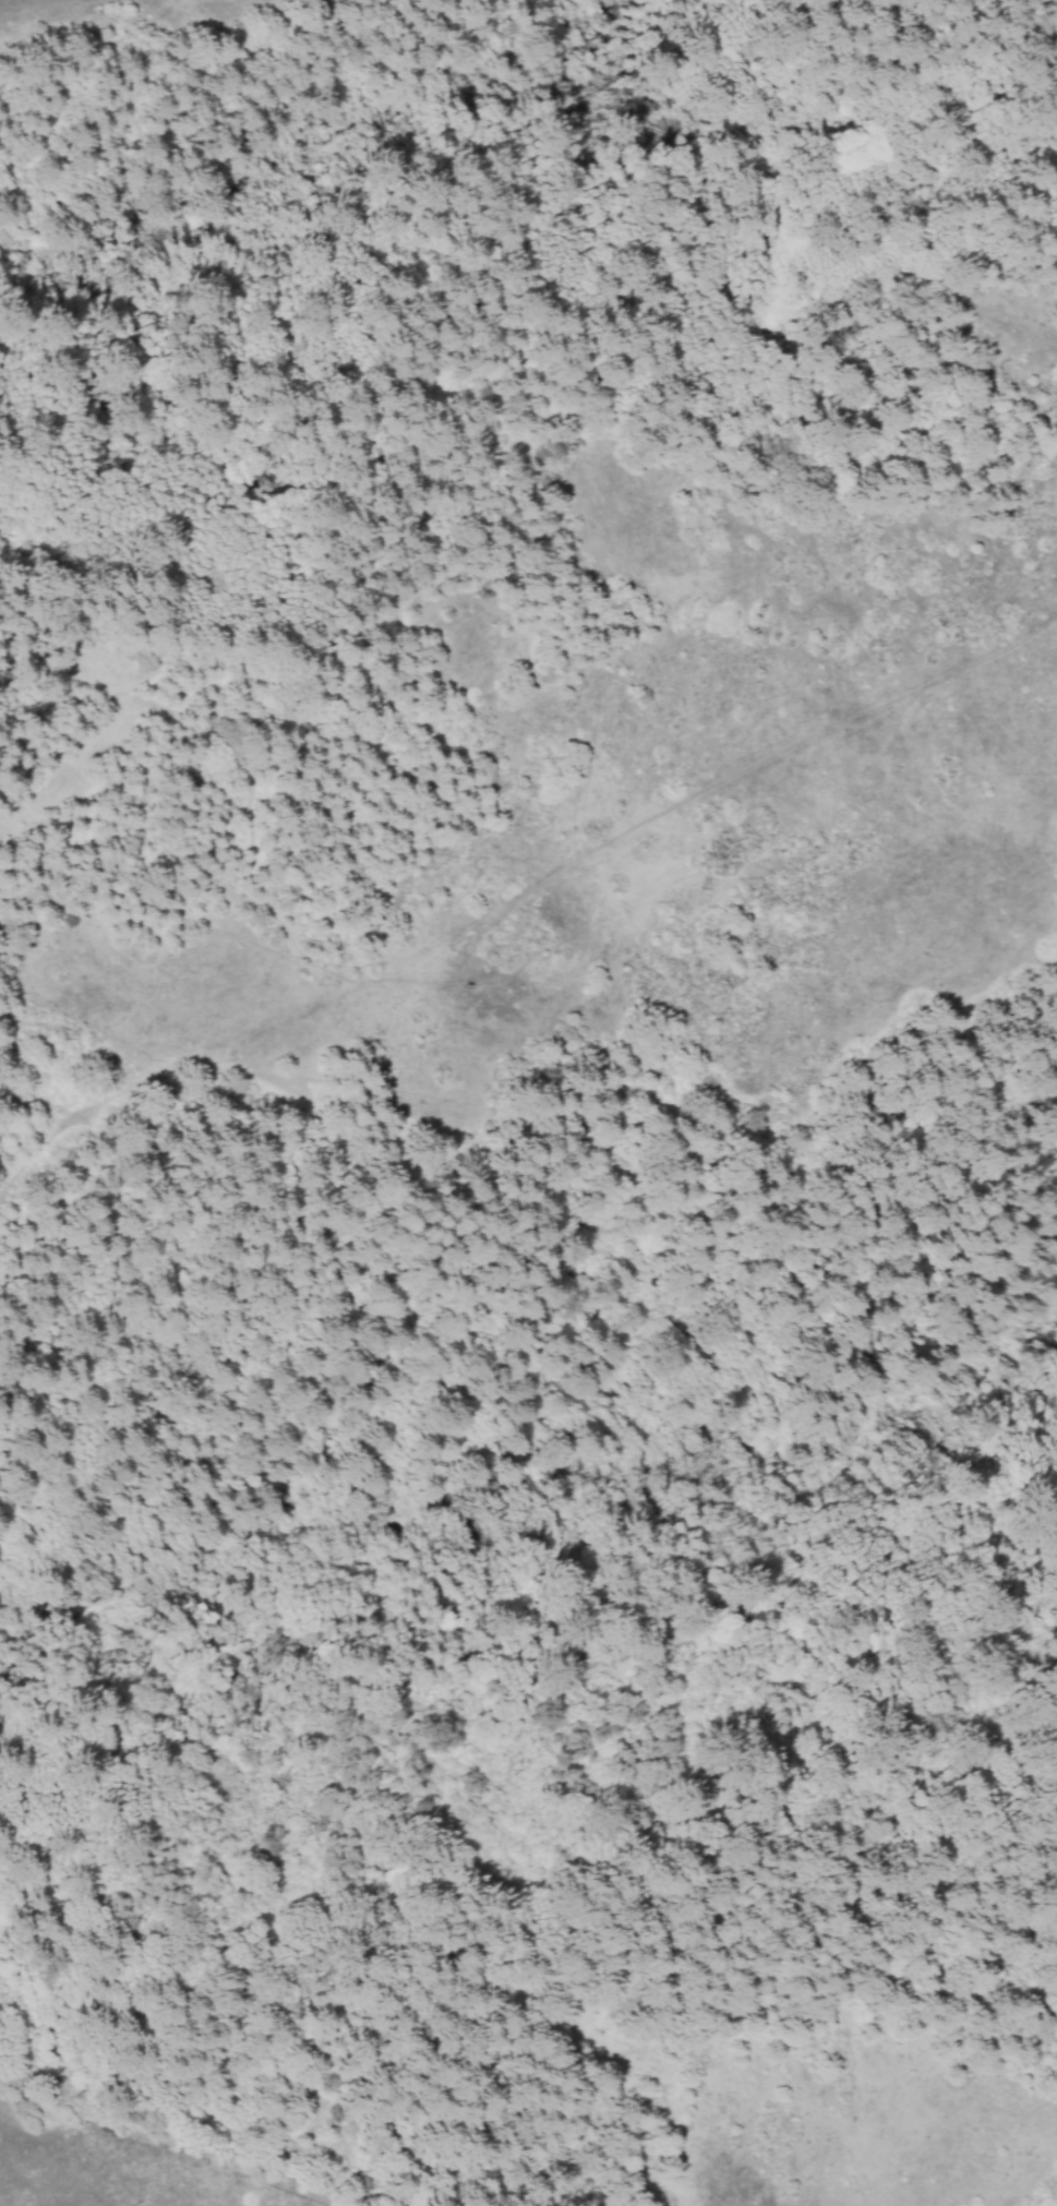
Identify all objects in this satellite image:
road: (1024, 2178)

